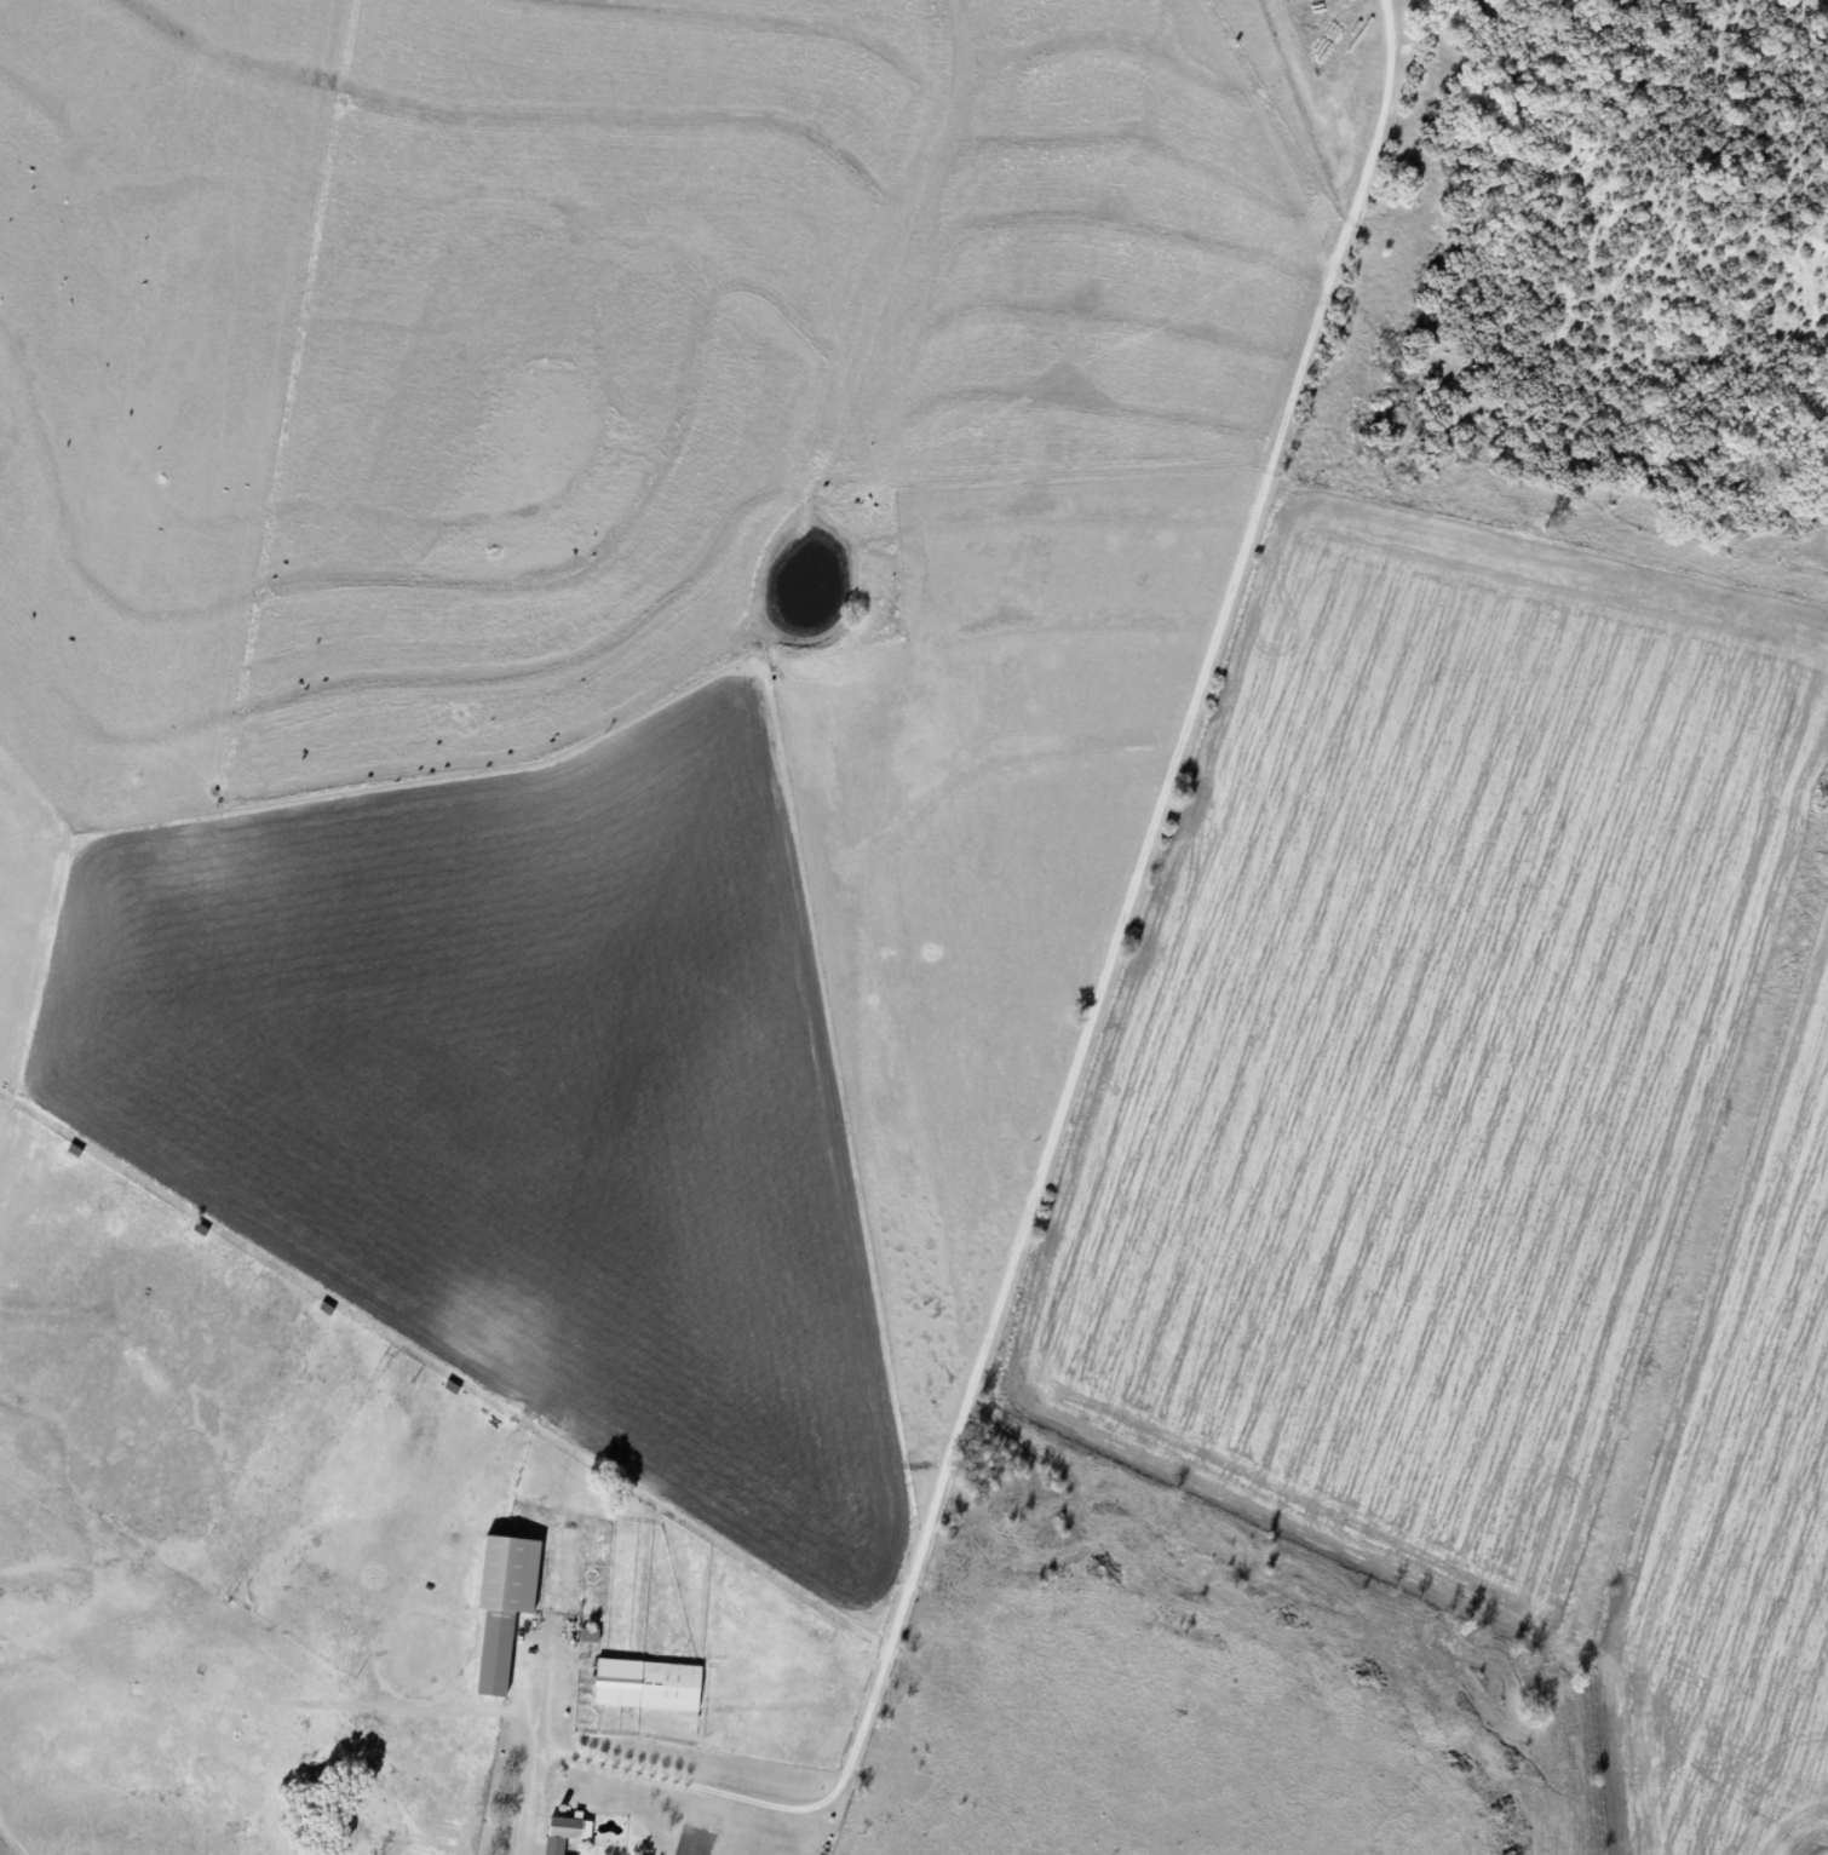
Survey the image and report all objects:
road: (1116, 1102)
building: (505, 1606)
building: (649, 1683)
building: (565, 1832)

